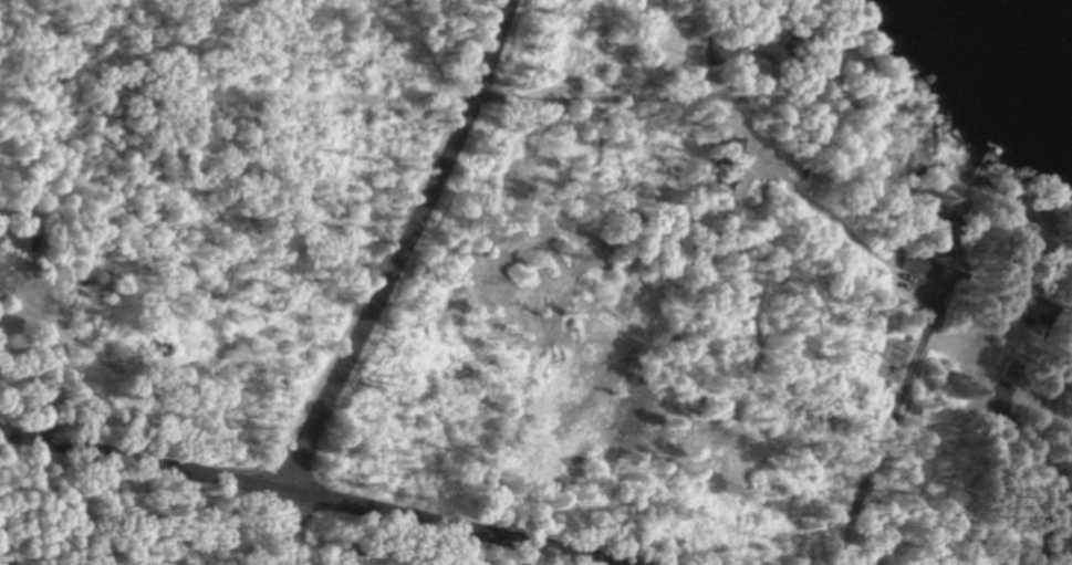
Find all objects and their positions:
road: (402, 248)
road: (315, 498)
road: (284, 527)

